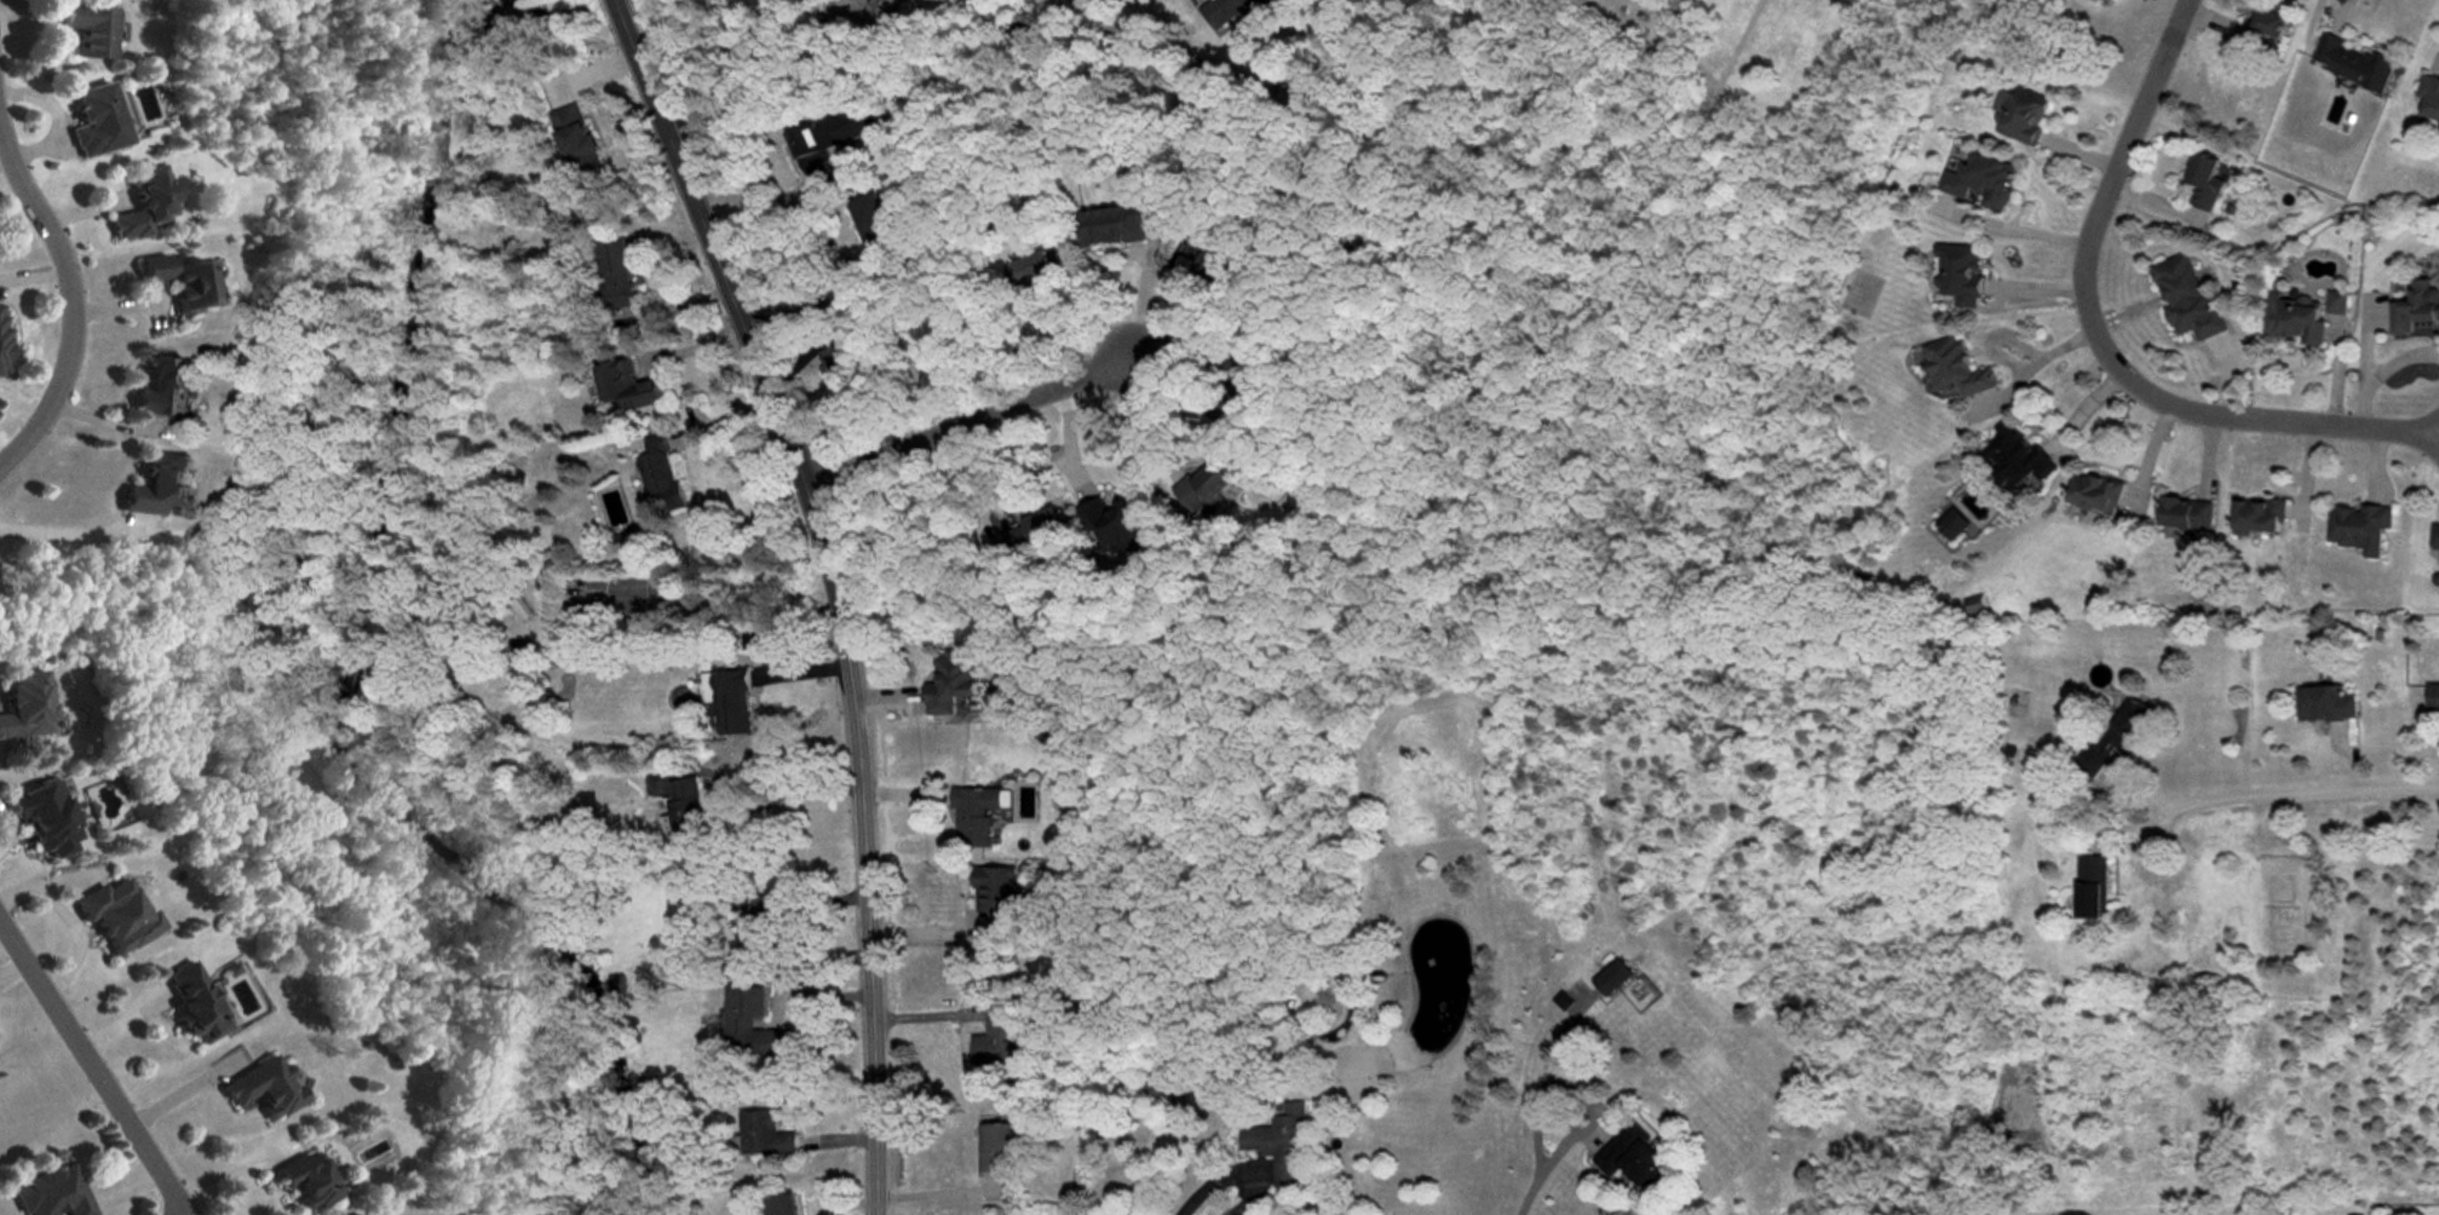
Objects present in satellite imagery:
building: (1284, 0)
road: (2343, 6)
building: (881, 7)
building: (1239, 12)
building: (2270, 25)
building: (92, 30)
building: (2353, 62)
building: (2429, 96)
building: (2023, 116)
building: (99, 121)
building: (577, 140)
building: (829, 142)
building: (2209, 180)
building: (1983, 182)
road: (759, 201)
building: (145, 203)
building: (1116, 223)
building: (870, 226)
road: (2008, 230)
road: (707, 232)
building: (1218, 264)
building: (1035, 269)
building: (1957, 273)
building: (616, 275)
building: (183, 282)
road: (1144, 294)
building: (2191, 295)
road: (69, 301)
road: (824, 301)
building: (2337, 301)
building: (0, 307)
building: (2418, 310)
building: (2297, 318)
building: (2, 342)
road: (2101, 342)
building: (838, 359)
building: (1960, 368)
building: (1237, 375)
building: (627, 385)
building: (166, 388)
road: (963, 422)
building: (2018, 457)
building: (658, 476)
building: (1207, 483)
building: (163, 485)
building: (2099, 494)
building: (2190, 513)
building: (2263, 517)
building: (1951, 524)
building: (1115, 525)
building: (2363, 528)
road: (69, 534)
building: (1034, 535)
building: (2437, 537)
building: (953, 683)
building: (732, 699)
building: (2434, 701)
building: (2329, 706)
building: (27, 707)
building: (2119, 743)
road: (2295, 788)
building: (974, 813)
building: (686, 816)
building: (47, 819)
road: (863, 837)
building: (2095, 888)
building: (996, 898)
building: (738, 899)
building: (119, 917)
road: (69, 922)
building: (760, 927)
building: (1615, 979)
building: (196, 1003)
building: (750, 1020)
building: (1000, 1037)
road: (94, 1065)
road: (1548, 1076)
building: (1166, 1084)
building: (266, 1088)
road: (1576, 1093)
building: (764, 1134)
building: (1283, 1145)
building: (995, 1147)
road: (1555, 1157)
building: (1636, 1158)
building: (312, 1182)
building: (56, 1193)
building: (783, 1205)
road: (1206, 1211)
road: (185, 1213)

